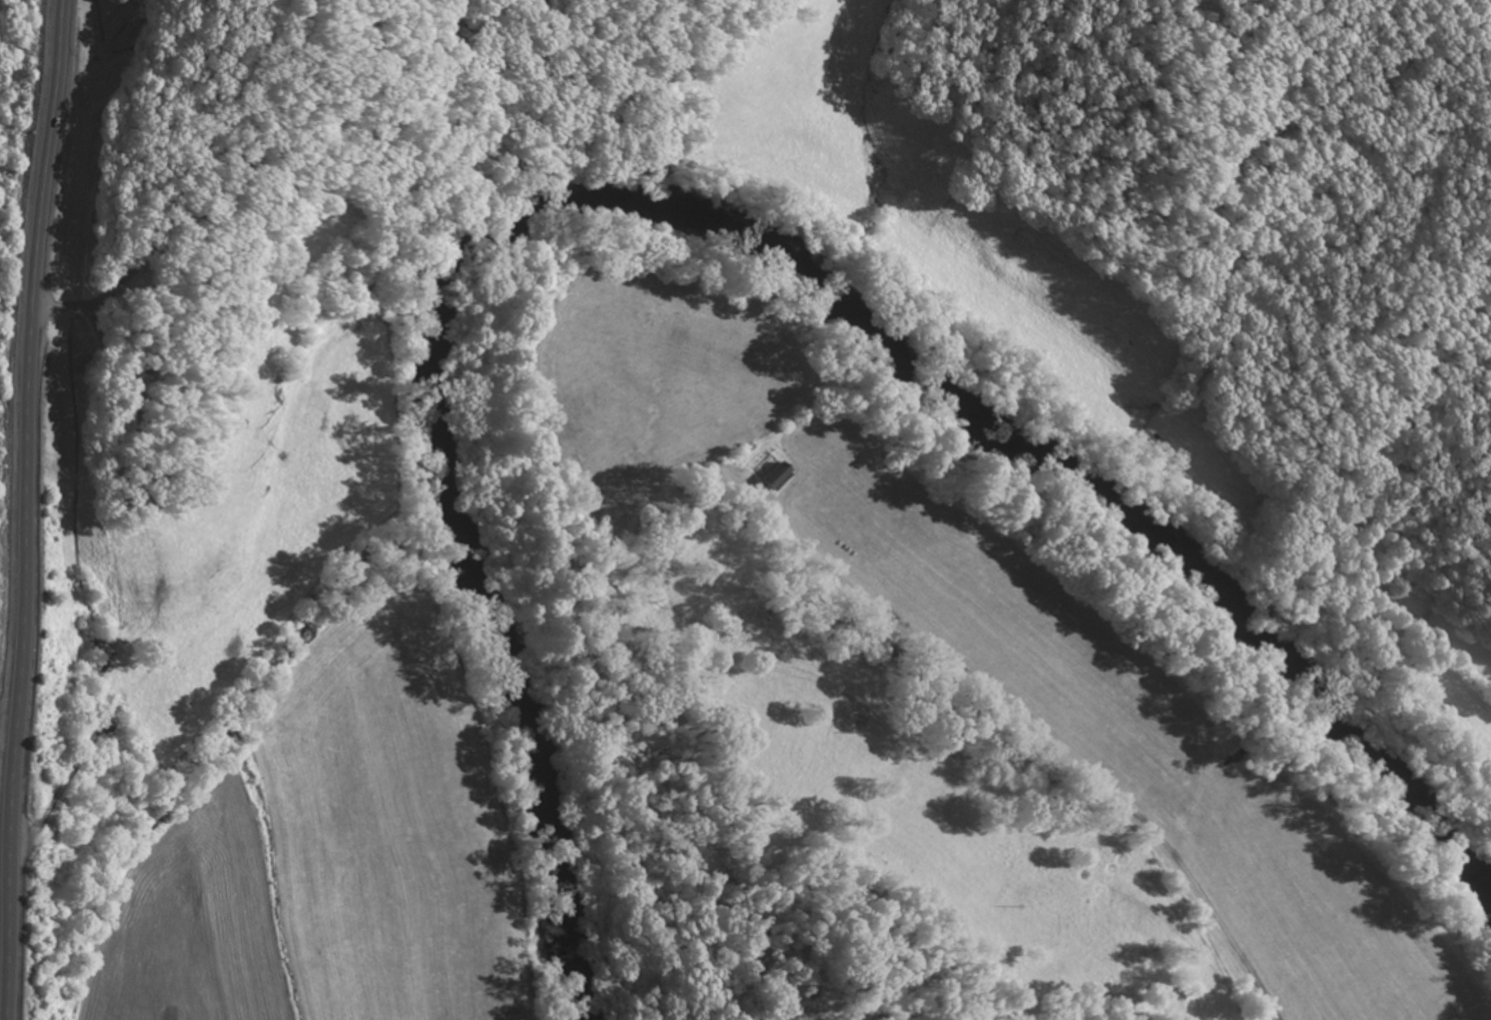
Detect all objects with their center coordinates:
river: (701, 222)
building: (778, 477)
road: (18, 507)

